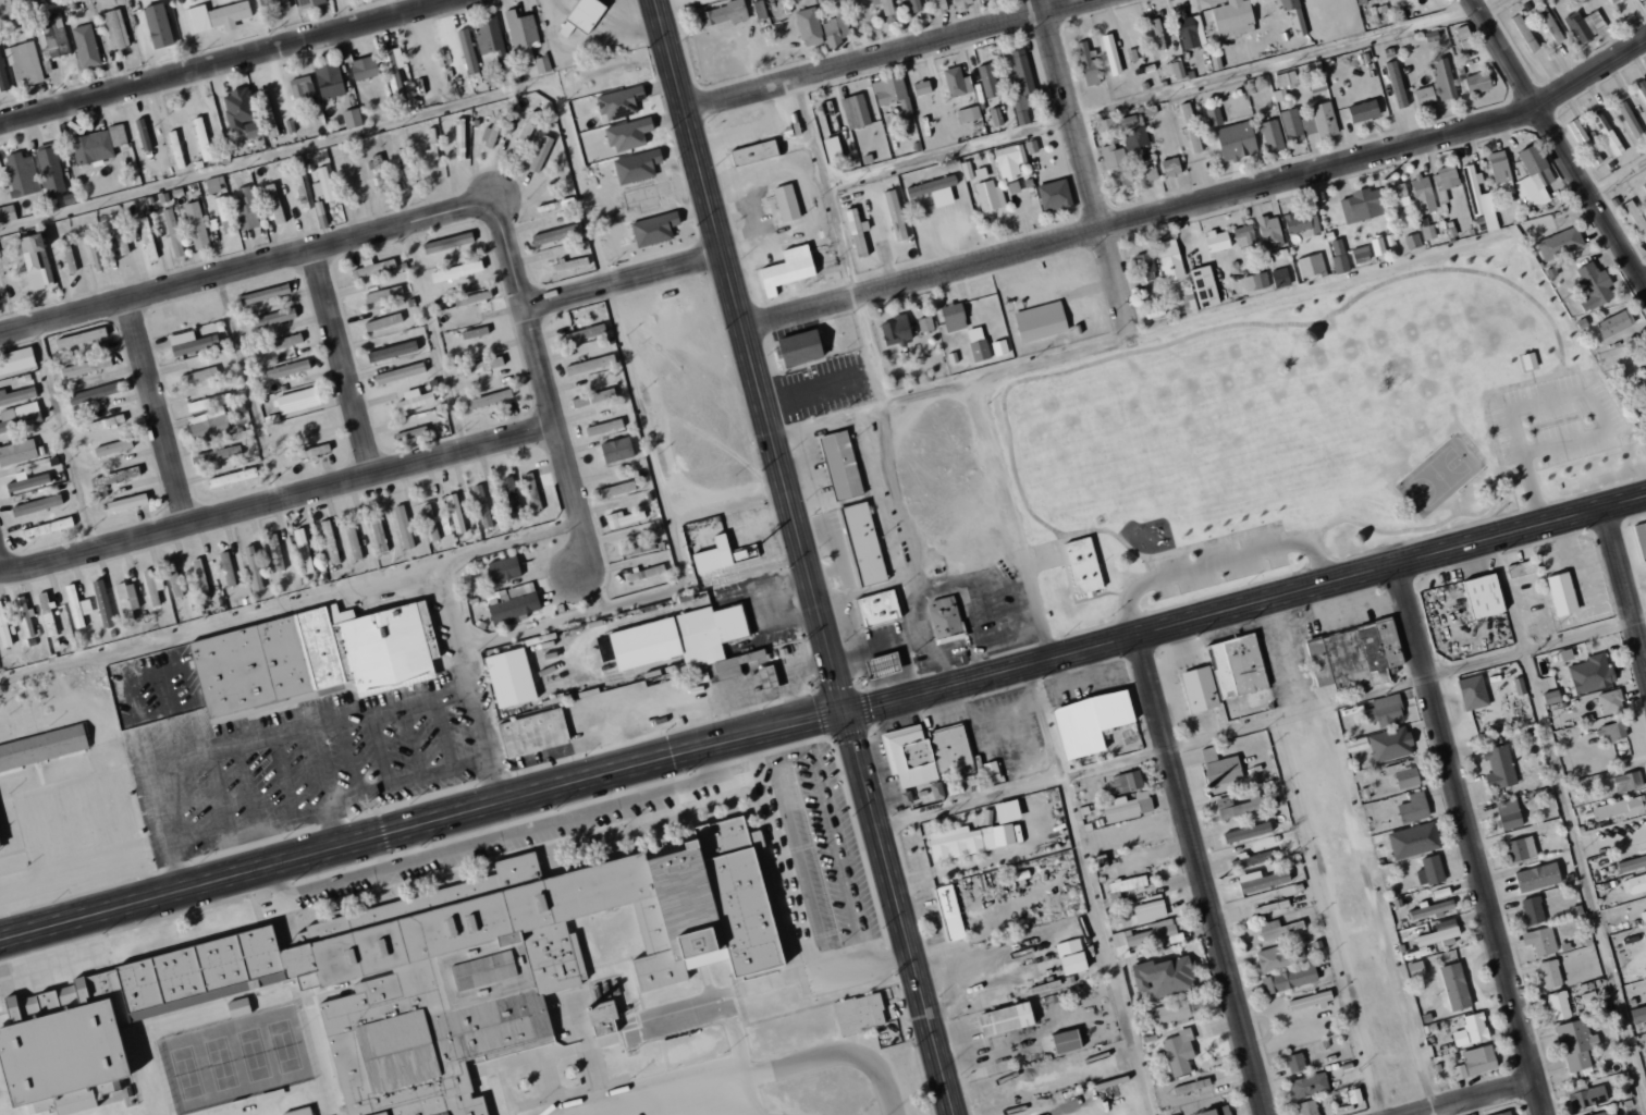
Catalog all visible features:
building: (1645, 0)
building: (1614, 1)
building: (690, 2)
building: (309, 3)
building: (962, 3)
building: (284, 4)
building: (913, 5)
building: (938, 5)
building: (857, 7)
building: (884, 9)
building: (760, 10)
building: (725, 13)
building: (1295, 15)
building: (217, 16)
building: (582, 16)
building: (1233, 20)
building: (1585, 25)
building: (158, 26)
building: (809, 26)
building: (1551, 26)
building: (115, 28)
building: (836, 28)
building: (1191, 32)
building: (1525, 33)
building: (56, 36)
building: (523, 36)
building: (1432, 36)
building: (1465, 37)
building: (490, 42)
building: (86, 46)
building: (468, 51)
building: (1111, 54)
road: (888, 56)
road: (222, 60)
building: (1216, 61)
building: (25, 62)
building: (1088, 62)
building: (543, 64)
building: (365, 68)
building: (1179, 70)
building: (394, 71)
building: (2, 75)
building: (330, 79)
building: (987, 79)
building: (1444, 79)
building: (955, 81)
building: (1286, 82)
building: (1478, 82)
building: (1020, 85)
building: (1397, 85)
building: (302, 86)
building: (922, 87)
building: (1643, 87)
building: (893, 93)
road: (1159, 96)
building: (1425, 96)
building: (238, 100)
building: (857, 111)
building: (1364, 111)
building: (969, 113)
building: (995, 117)
building: (1214, 117)
building: (352, 118)
building: (1630, 119)
building: (1310, 123)
building: (1105, 124)
building: (1191, 127)
building: (253, 130)
building: (790, 131)
building: (492, 132)
building: (1607, 132)
building: (525, 133)
building: (1133, 133)
building: (144, 134)
building: (118, 135)
building: (1272, 135)
building: (202, 138)
building: (460, 138)
road: (335, 140)
building: (1237, 140)
road: (1559, 140)
building: (1584, 142)
building: (91, 147)
building: (1032, 147)
building: (433, 148)
building: (176, 149)
building: (833, 149)
building: (754, 152)
building: (541, 154)
building: (1010, 160)
building: (407, 166)
building: (1536, 166)
building: (1117, 167)
building: (1171, 167)
road: (1084, 169)
building: (51, 170)
building: (351, 172)
building: (1501, 172)
building: (379, 173)
building: (981, 173)
building: (1150, 173)
road: (1618, 173)
building: (22, 174)
building: (1446, 177)
building: (214, 184)
building: (323, 184)
building: (1644, 185)
road: (824, 186)
building: (1014, 187)
building: (1476, 188)
building: (935, 191)
building: (1398, 194)
building: (1423, 194)
building: (990, 195)
building: (1055, 196)
road: (1203, 197)
building: (273, 203)
building: (786, 203)
building: (555, 205)
building: (1363, 205)
building: (222, 208)
building: (246, 208)
building: (8, 213)
building: (895, 216)
building: (1636, 218)
building: (1302, 220)
building: (196, 224)
building: (1428, 231)
building: (173, 232)
building: (1270, 232)
building: (556, 234)
building: (1244, 235)
building: (860, 236)
building: (119, 238)
building: (148, 238)
building: (1218, 240)
building: (1412, 241)
building: (1560, 243)
building: (1378, 245)
building: (95, 249)
building: (1361, 254)
building: (69, 255)
building: (1339, 255)
building: (1170, 259)
building: (37, 261)
building: (572, 264)
building: (1312, 265)
building: (1145, 266)
building: (373, 267)
road: (247, 268)
building: (788, 269)
building: (457, 271)
building: (1281, 278)
building: (1256, 281)
road: (627, 283)
building: (1594, 285)
building: (1205, 286)
building: (383, 293)
building: (265, 294)
building: (474, 297)
building: (1182, 299)
building: (969, 313)
building: (954, 316)
building: (274, 317)
building: (383, 321)
building: (1041, 321)
building: (1616, 322)
building: (926, 323)
building: (897, 330)
building: (475, 332)
building: (584, 333)
road: (619, 333)
road: (1142, 335)
building: (81, 336)
building: (187, 343)
building: (280, 343)
building: (978, 343)
building: (999, 346)
building: (800, 347)
building: (392, 351)
building: (953, 357)
building: (1641, 357)
building: (16, 359)
building: (1530, 360)
road: (346, 362)
building: (590, 364)
building: (483, 365)
building: (86, 366)
building: (287, 369)
building: (400, 372)
building: (199, 375)
building: (1643, 381)
road: (546, 387)
building: (93, 393)
building: (17, 395)
building: (602, 395)
building: (490, 399)
building: (297, 400)
building: (415, 400)
building: (209, 402)
building: (580, 402)
road: (159, 413)
building: (20, 416)
road: (834, 417)
building: (106, 422)
building: (208, 424)
building: (303, 424)
building: (604, 427)
park: (1245, 445)
building: (113, 448)
building: (617, 449)
building: (17, 452)
building: (310, 452)
building: (219, 453)
park: (1260, 460)
building: (842, 464)
building: (116, 476)
building: (232, 477)
building: (28, 482)
building: (616, 489)
building: (532, 491)
building: (512, 494)
road: (279, 501)
building: (127, 502)
building: (36, 505)
building: (486, 509)
building: (456, 513)
building: (626, 518)
road: (1011, 520)
building: (434, 522)
building: (404, 526)
building: (47, 527)
building: (379, 535)
building: (1641, 538)
building: (330, 541)
building: (354, 543)
building: (863, 543)
building: (637, 546)
building: (304, 550)
building: (275, 552)
building: (745, 553)
building: (714, 555)
road: (809, 556)
road: (2, 561)
building: (1083, 563)
building: (254, 567)
building: (1522, 567)
building: (228, 568)
building: (504, 569)
building: (201, 575)
building: (173, 578)
road: (1625, 586)
building: (152, 587)
road: (600, 591)
building: (1562, 591)
building: (1484, 596)
building: (127, 600)
road: (631, 601)
road: (292, 603)
building: (77, 606)
building: (879, 608)
building: (47, 615)
building: (25, 617)
building: (945, 618)
building: (3, 627)
building: (686, 640)
building: (368, 646)
building: (1356, 653)
road: (457, 658)
building: (883, 665)
building: (1238, 665)
building: (253, 666)
building: (711, 672)
building: (1592, 673)
building: (511, 677)
building: (769, 678)
building: (1201, 689)
building: (1473, 691)
building: (1551, 696)
building: (1610, 701)
building: (1385, 710)
traffic signals: (851, 715)
road: (1263, 720)
building: (1092, 721)
road: (823, 722)
building: (533, 732)
building: (1612, 732)
building: (1390, 744)
building: (42, 747)
building: (926, 760)
building: (1499, 768)
building: (1220, 769)
building: (992, 771)
building: (1407, 777)
road: (492, 780)
building: (1629, 781)
building: (1127, 782)
building: (1239, 806)
building: (1127, 808)
building: (1414, 808)
building: (1621, 808)
building: (1509, 813)
road: (1568, 826)
building: (1248, 832)
building: (1414, 840)
road: (1473, 840)
building: (970, 841)
building: (1521, 848)
building: (0, 849)
road: (1321, 859)
building: (1632, 863)
building: (1433, 869)
road: (1202, 875)
building: (1538, 877)
building: (1262, 880)
building: (1634, 884)
building: (1125, 885)
road: (1090, 890)
building: (1441, 892)
road: (796, 904)
building: (1272, 906)
building: (1433, 908)
building: (1150, 910)
building: (1533, 910)
building: (949, 912)
building: (1279, 929)
building: (1440, 932)
building: (1143, 936)
building: (1540, 940)
building: (1071, 956)
building: (1278, 958)
building: (1416, 969)
building: (1550, 973)
building: (416, 975)
building: (1164, 977)
building: (1290, 979)
building: (1455, 987)
building: (1310, 1001)
building: (1559, 1005)
building: (238, 1007)
building: (1176, 1012)
building: (859, 1014)
building: (1638, 1015)
building: (603, 1019)
building: (1006, 1019)
building: (1472, 1030)
building: (1067, 1041)
building: (1577, 1044)
building: (1180, 1052)
park: (237, 1059)
building: (1476, 1062)
building: (1295, 1063)
road: (776, 1073)
building: (1310, 1085)
building: (1355, 1095)
building: (1585, 1096)
road: (751, 1098)
road: (1478, 1098)
building: (1309, 1107)
building: (1218, 1111)
building: (302, 1112)
road: (1432, 1113)
building: (1503, 1113)
building: (1609, 1113)

